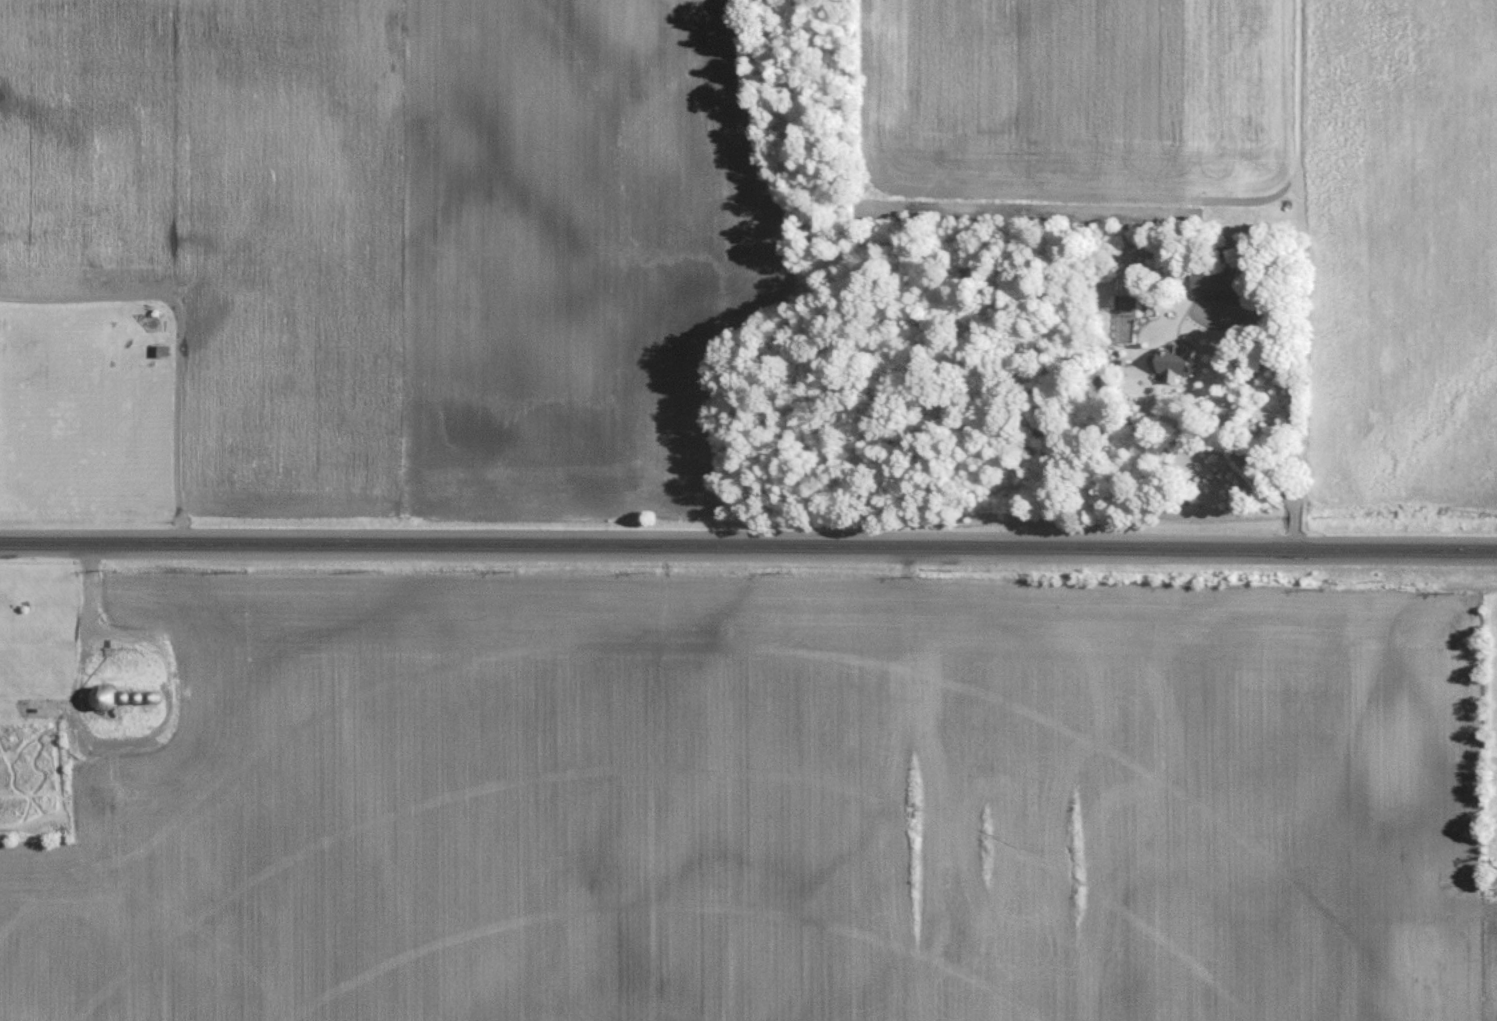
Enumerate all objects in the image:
building: (1208, 279)
building: (1168, 361)
road: (1225, 416)
road: (748, 545)
building: (109, 697)

